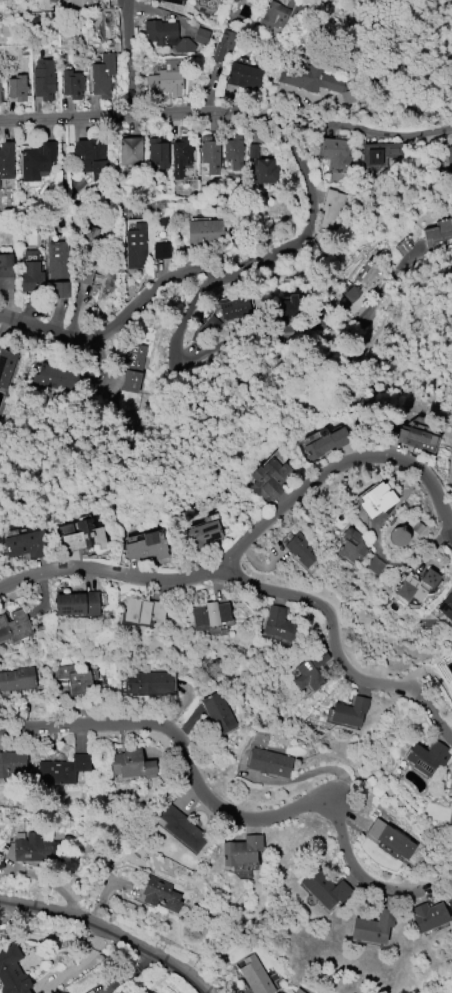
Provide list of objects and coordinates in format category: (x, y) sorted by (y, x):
building: (174, 2)
building: (89, 3)
building: (276, 13)
building: (166, 36)
building: (200, 36)
building: (223, 44)
road: (125, 57)
building: (102, 74)
building: (245, 76)
building: (167, 78)
building: (43, 79)
building: (311, 79)
building: (72, 84)
building: (0, 88)
building: (17, 89)
building: (0, 99)
road: (129, 115)
road: (356, 130)
building: (130, 150)
building: (157, 151)
building: (234, 151)
building: (253, 151)
building: (334, 154)
building: (180, 155)
building: (210, 155)
building: (379, 155)
building: (91, 157)
building: (449, 157)
building: (6, 160)
building: (37, 161)
building: (266, 171)
building: (333, 210)
building: (204, 232)
building: (438, 232)
building: (91, 235)
building: (135, 246)
building: (161, 250)
building: (58, 268)
building: (6, 272)
building: (84, 273)
road: (217, 274)
building: (31, 277)
building: (363, 285)
road: (383, 300)
building: (288, 304)
road: (195, 318)
building: (220, 319)
road: (247, 348)
building: (6, 365)
building: (132, 367)
building: (56, 377)
building: (415, 437)
building: (325, 442)
building: (269, 479)
building: (376, 500)
road: (270, 520)
building: (202, 533)
building: (82, 536)
building: (397, 536)
building: (26, 544)
building: (352, 545)
building: (147, 546)
building: (301, 550)
building: (374, 565)
road: (26, 578)
building: (416, 586)
building: (76, 604)
building: (446, 606)
building: (143, 611)
building: (209, 615)
building: (14, 625)
building: (280, 626)
road: (337, 658)
building: (309, 671)
building: (76, 678)
building: (17, 679)
building: (150, 683)
building: (349, 711)
building: (218, 713)
road: (78, 728)
building: (426, 758)
building: (268, 762)
building: (12, 763)
building: (130, 763)
building: (63, 770)
building: (450, 780)
road: (292, 810)
building: (181, 828)
building: (389, 839)
building: (36, 849)
building: (241, 850)
building: (0, 864)
building: (324, 888)
building: (160, 894)
building: (428, 916)
building: (373, 927)
road: (108, 931)
building: (12, 971)
building: (254, 976)
building: (298, 991)

